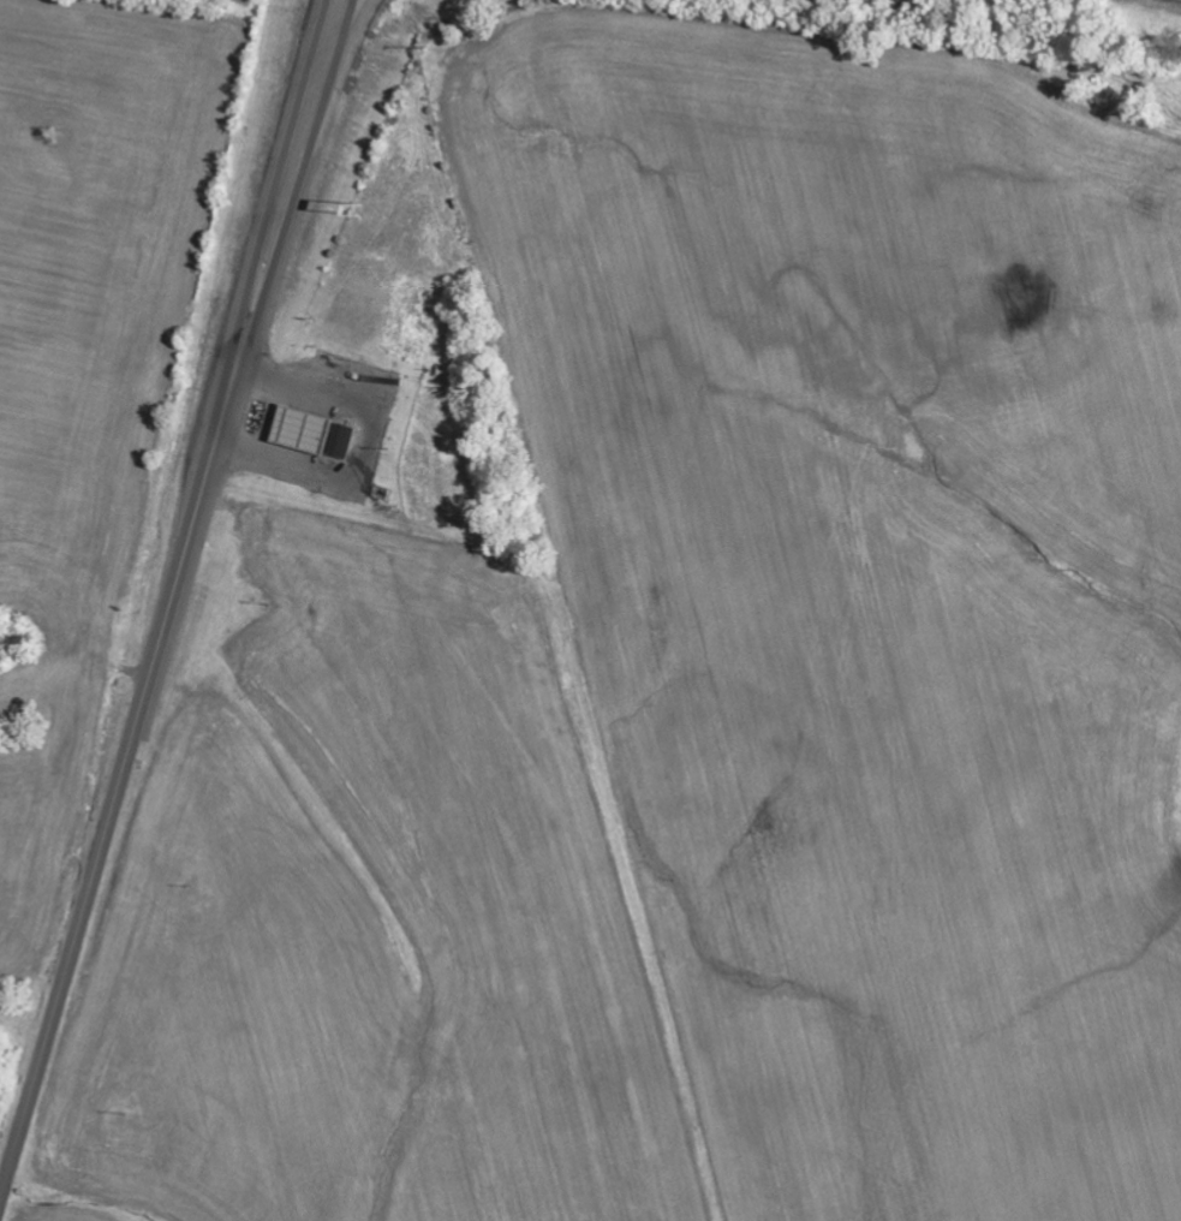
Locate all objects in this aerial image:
road: (351, 38)
road: (281, 186)
road: (300, 189)
building: (314, 435)
road: (365, 441)
road: (118, 791)

